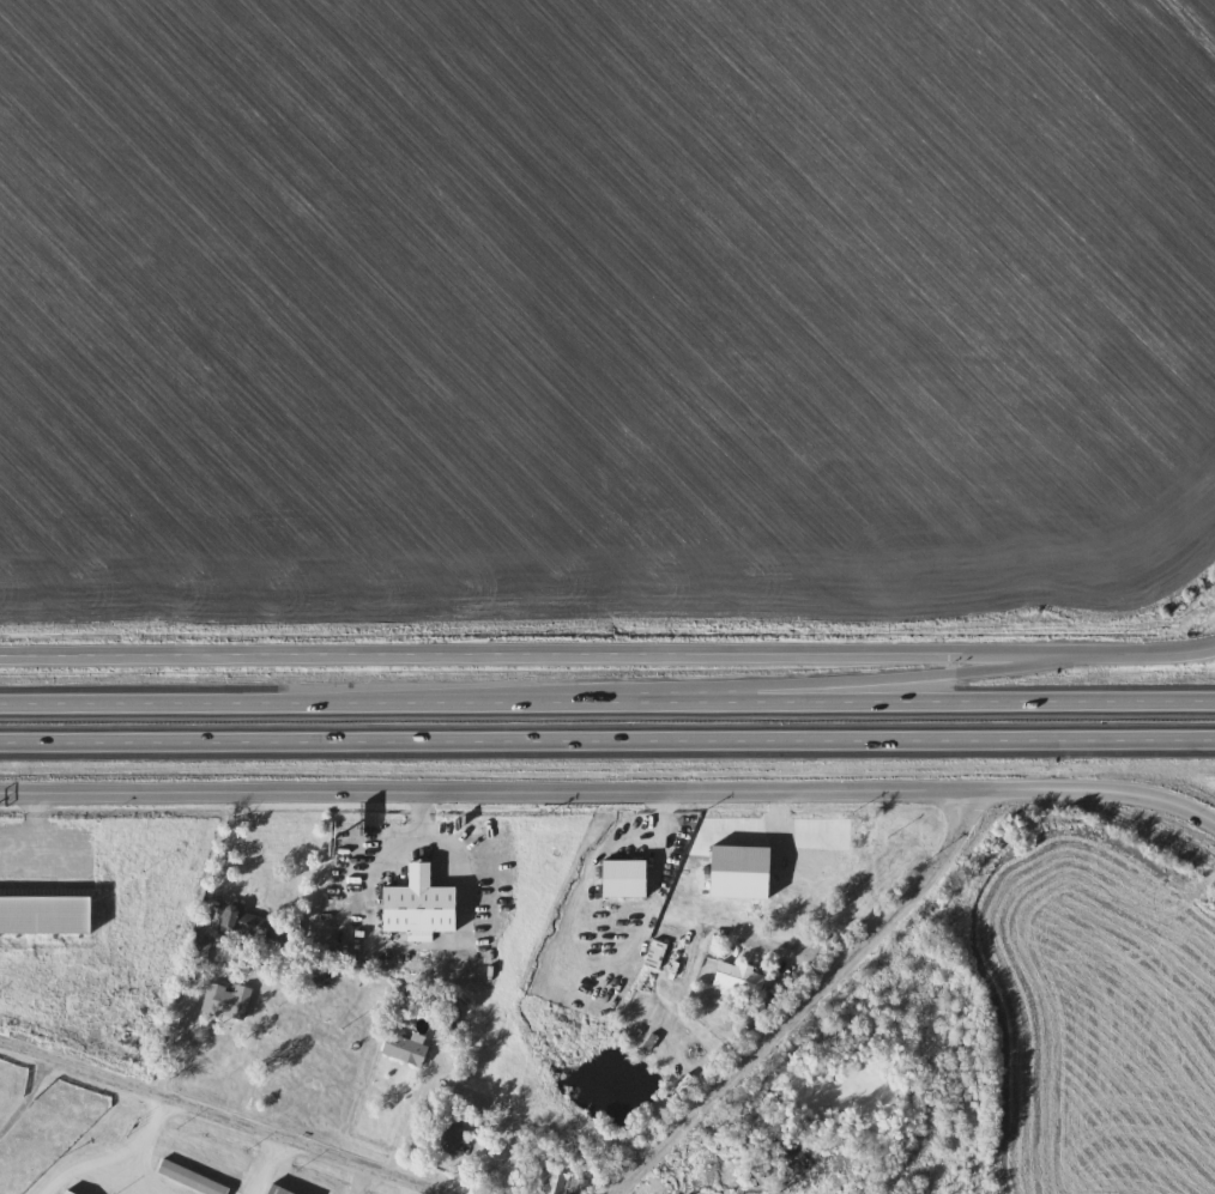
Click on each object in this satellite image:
road: (1147, 651)
road: (539, 655)
road: (875, 675)
road: (606, 698)
road: (607, 738)
road: (610, 790)
road: (229, 836)
building: (627, 878)
building: (423, 904)
building: (42, 910)
road: (393, 943)
building: (654, 953)
building: (315, 972)
building: (739, 977)
road: (798, 998)
building: (228, 1000)
building: (448, 1022)
building: (406, 1048)
road: (165, 1069)
road: (29, 1096)
road: (223, 1114)
road: (412, 1116)
building: (449, 1135)
road: (272, 1165)
road: (127, 1177)
building: (192, 1178)
road: (364, 1181)
building: (564, 1183)
building: (67, 1192)
building: (288, 1193)

